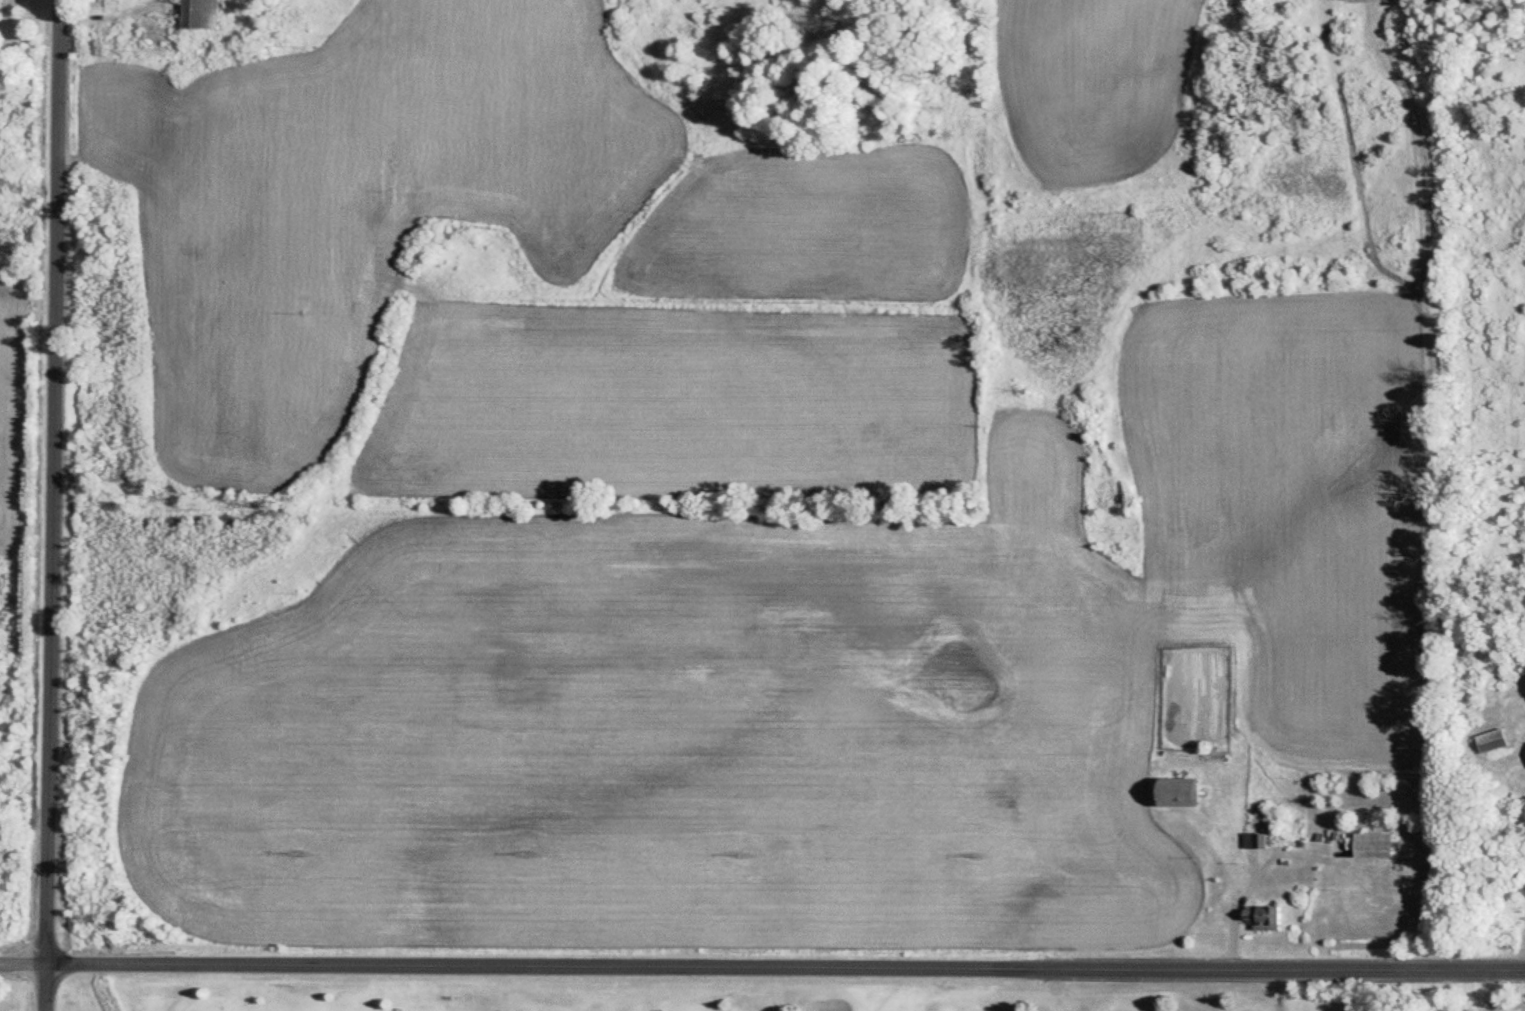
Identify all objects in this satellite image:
building: (197, 15)
road: (55, 505)
building: (1171, 794)
building: (1247, 842)
building: (1368, 847)
building: (1259, 919)
road: (762, 968)
park: (734, 998)

